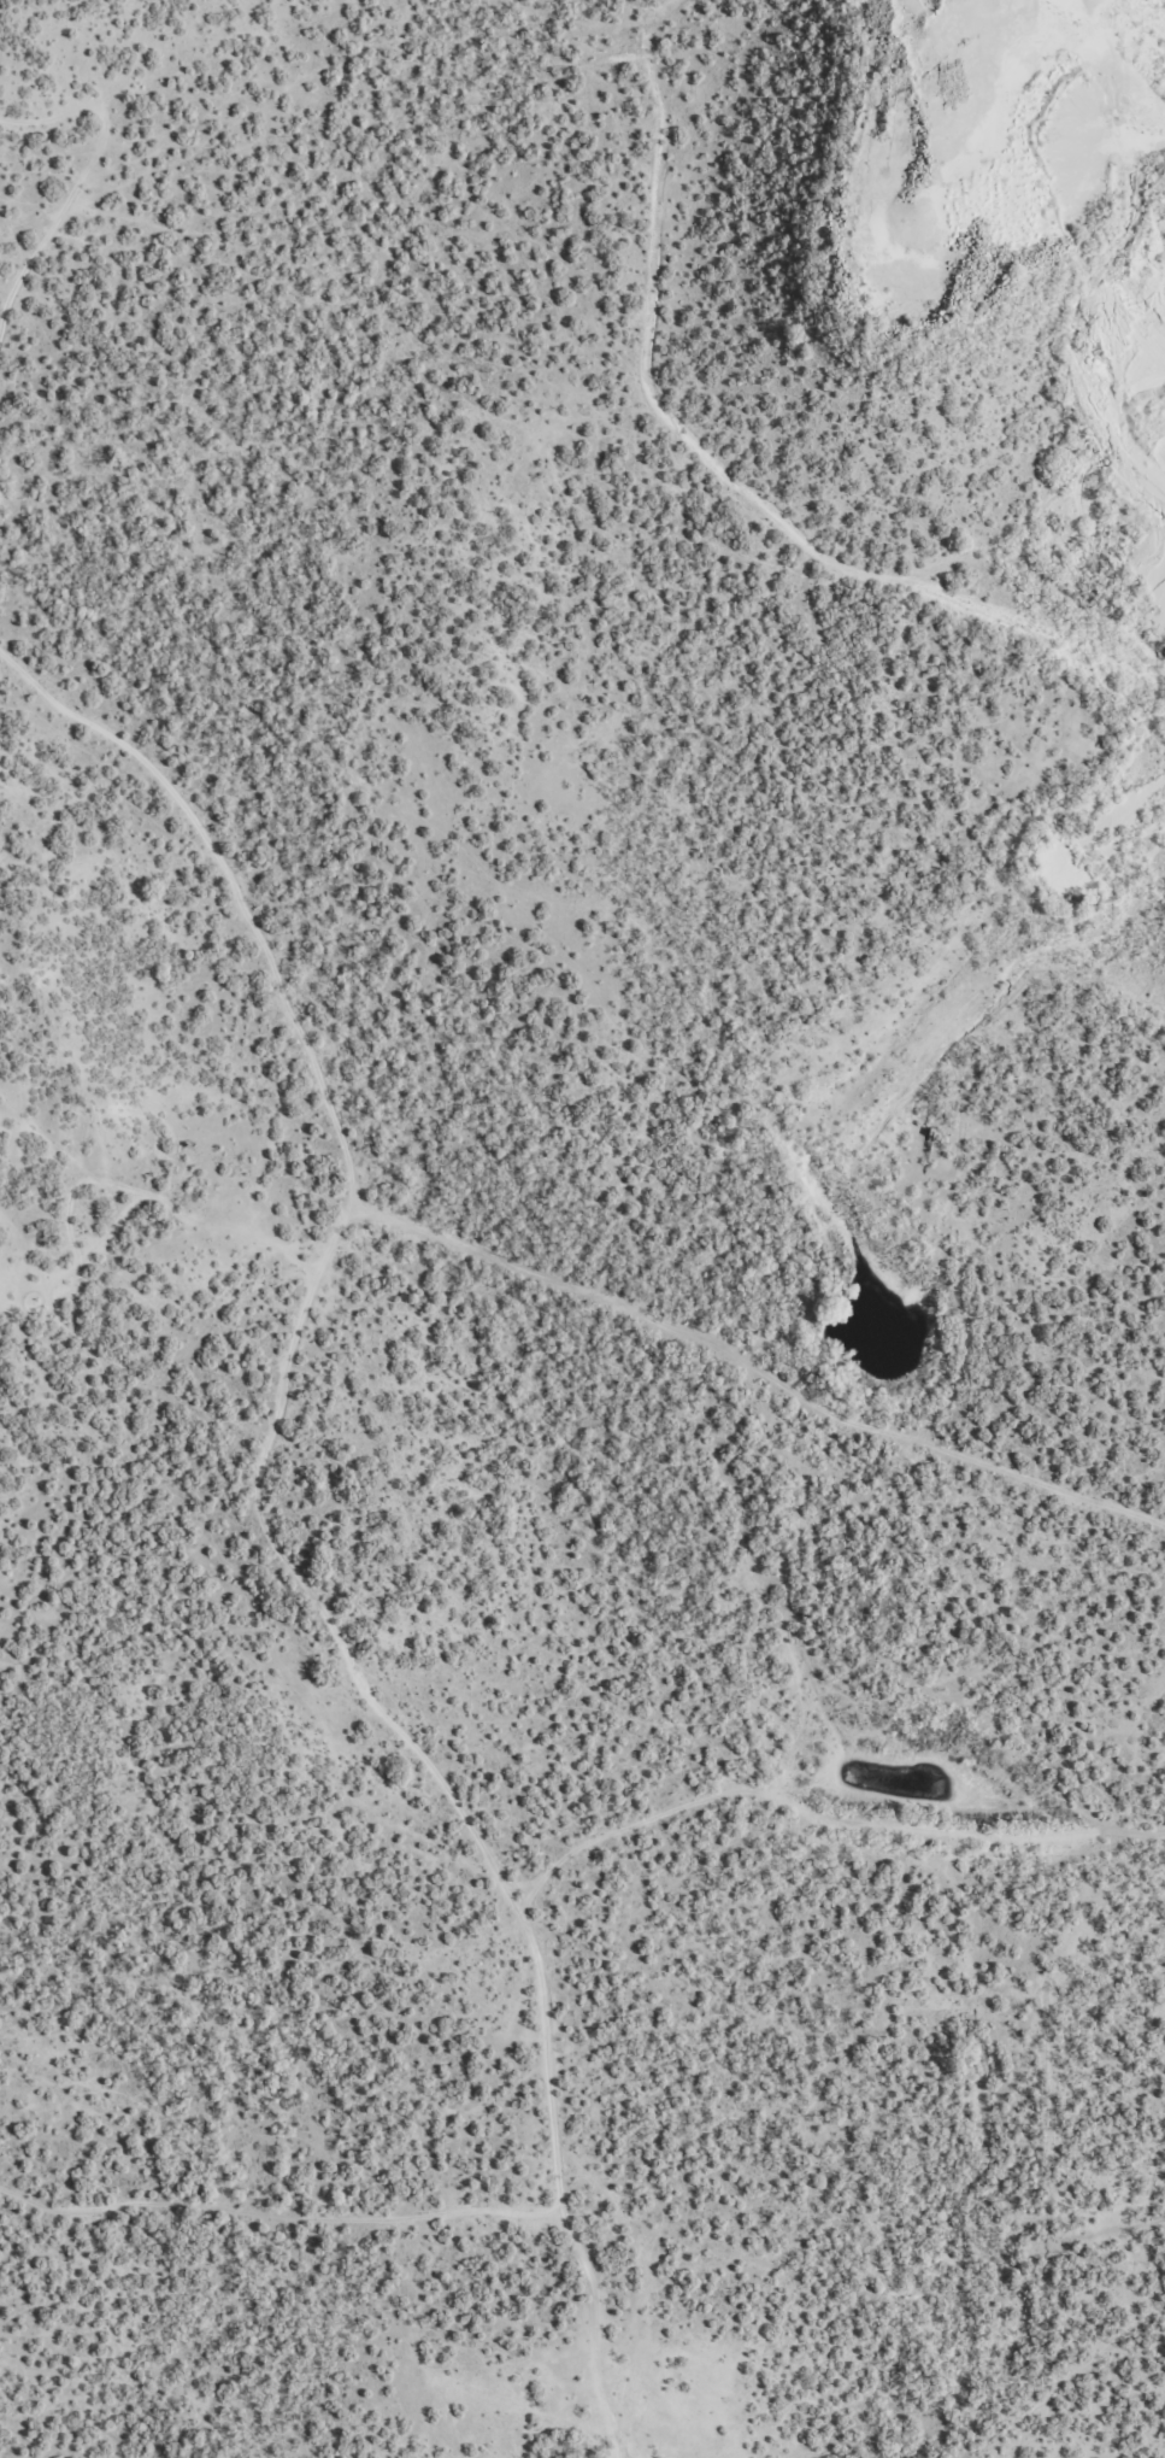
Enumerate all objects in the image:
road: (108, 2412)

